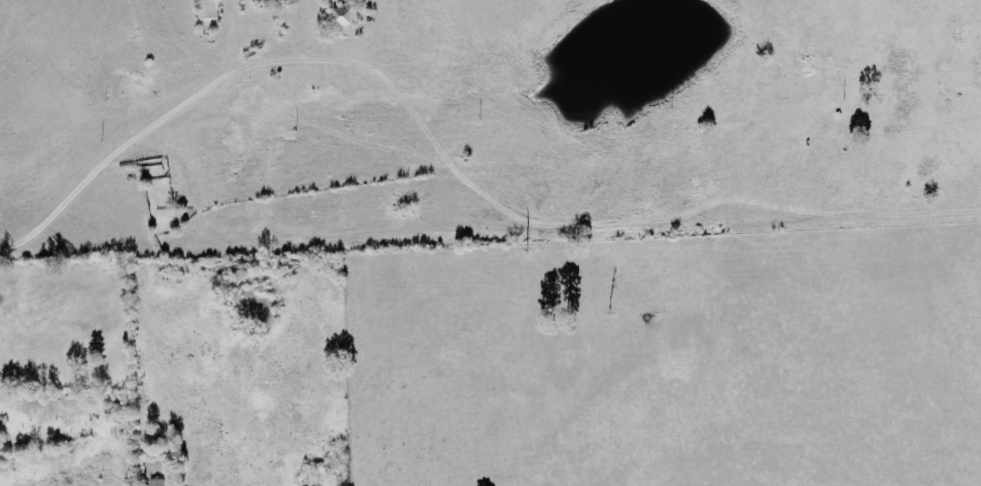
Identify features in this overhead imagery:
building: (207, 13)
building: (344, 17)
building: (156, 482)

